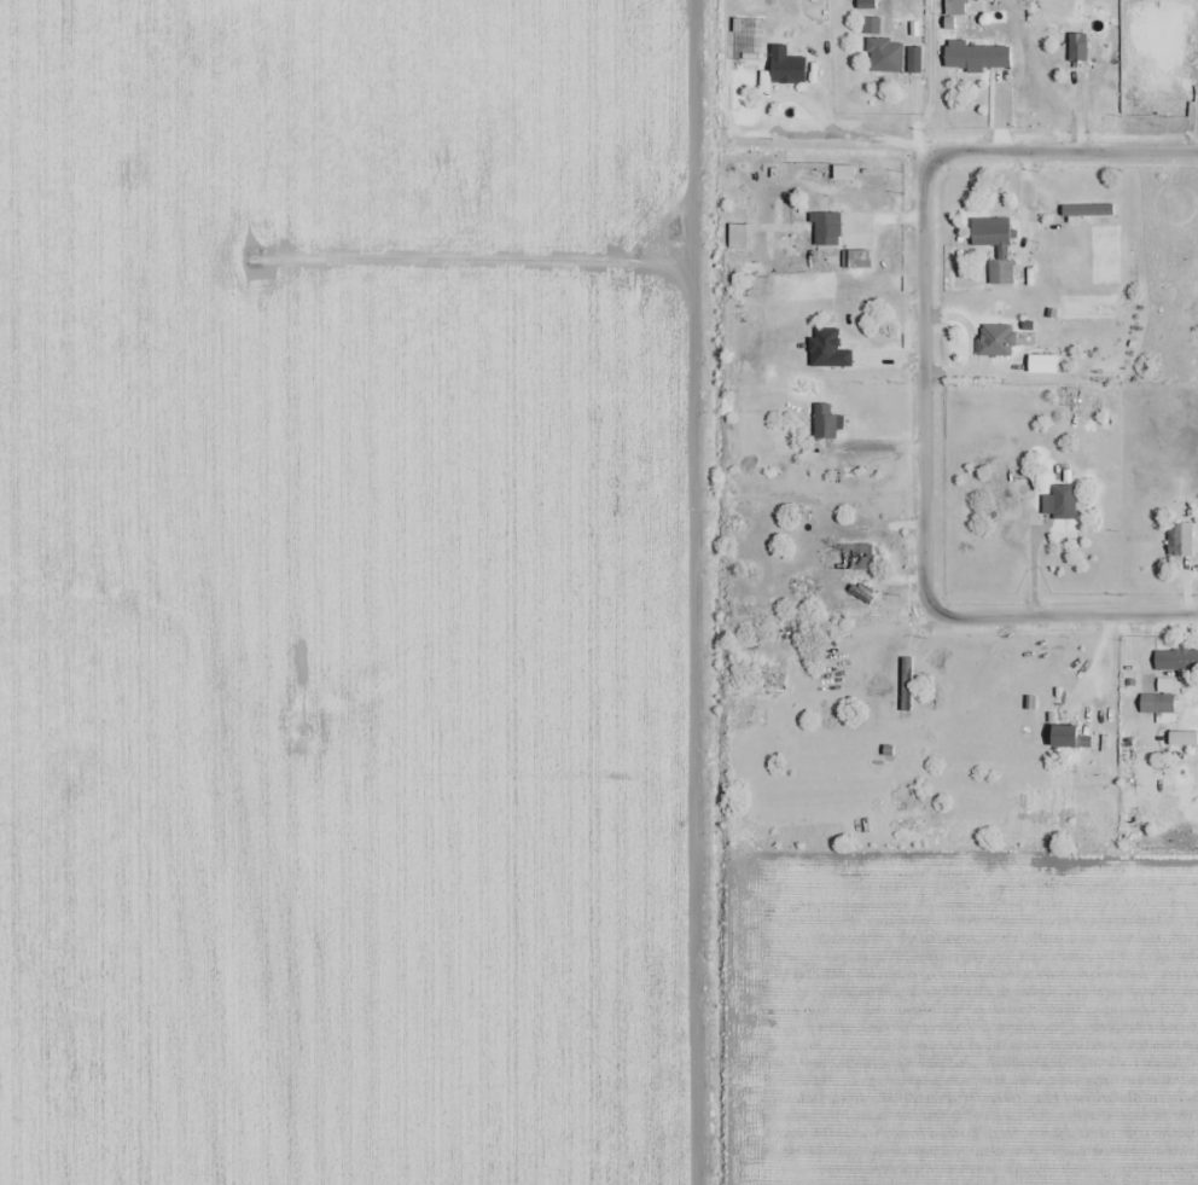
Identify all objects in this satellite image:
building: (955, 7)
building: (873, 27)
building: (1075, 30)
building: (886, 56)
building: (978, 58)
building: (787, 66)
road: (804, 135)
road: (1063, 152)
building: (1087, 228)
building: (828, 230)
building: (995, 246)
building: (857, 260)
building: (981, 345)
road: (925, 384)
building: (1062, 494)
building: (1181, 540)
building: (856, 558)
road: (1062, 617)
building: (1176, 660)
building: (1158, 704)
building: (971, 718)
building: (1065, 737)

